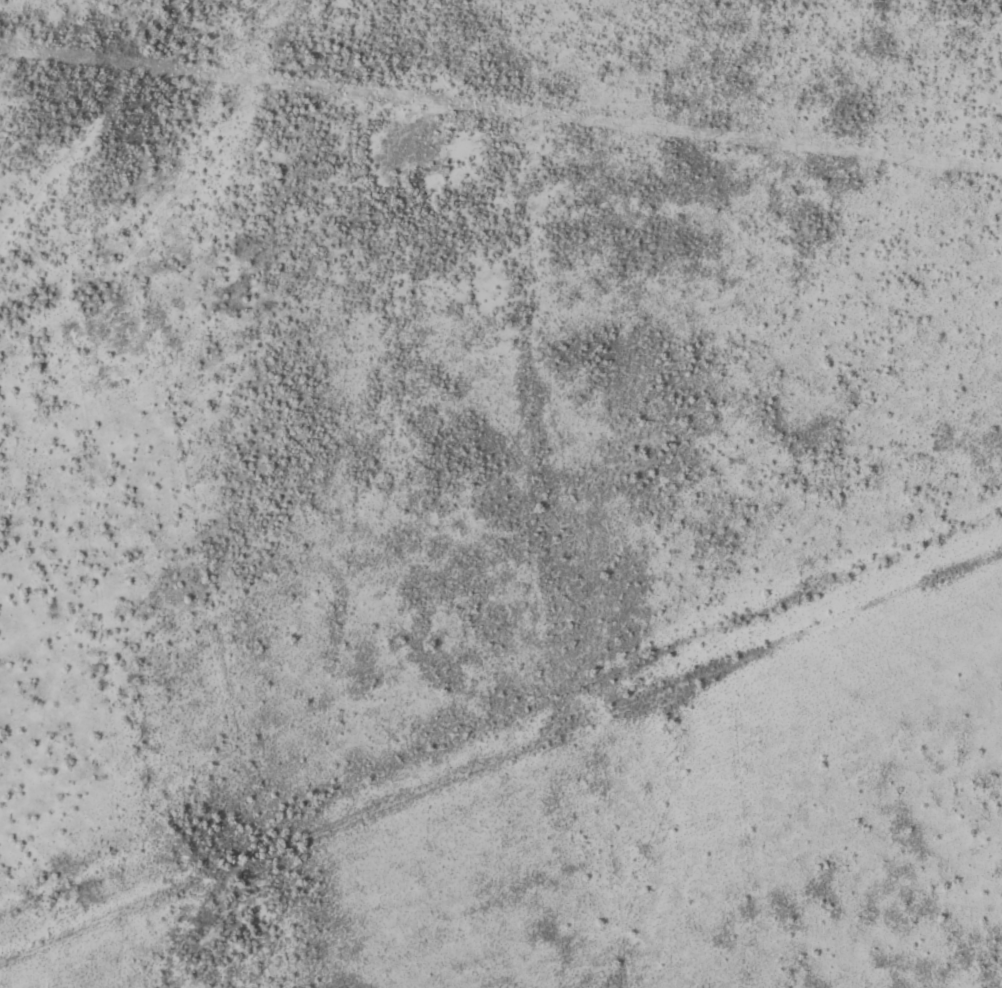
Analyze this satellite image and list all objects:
road: (504, 759)

